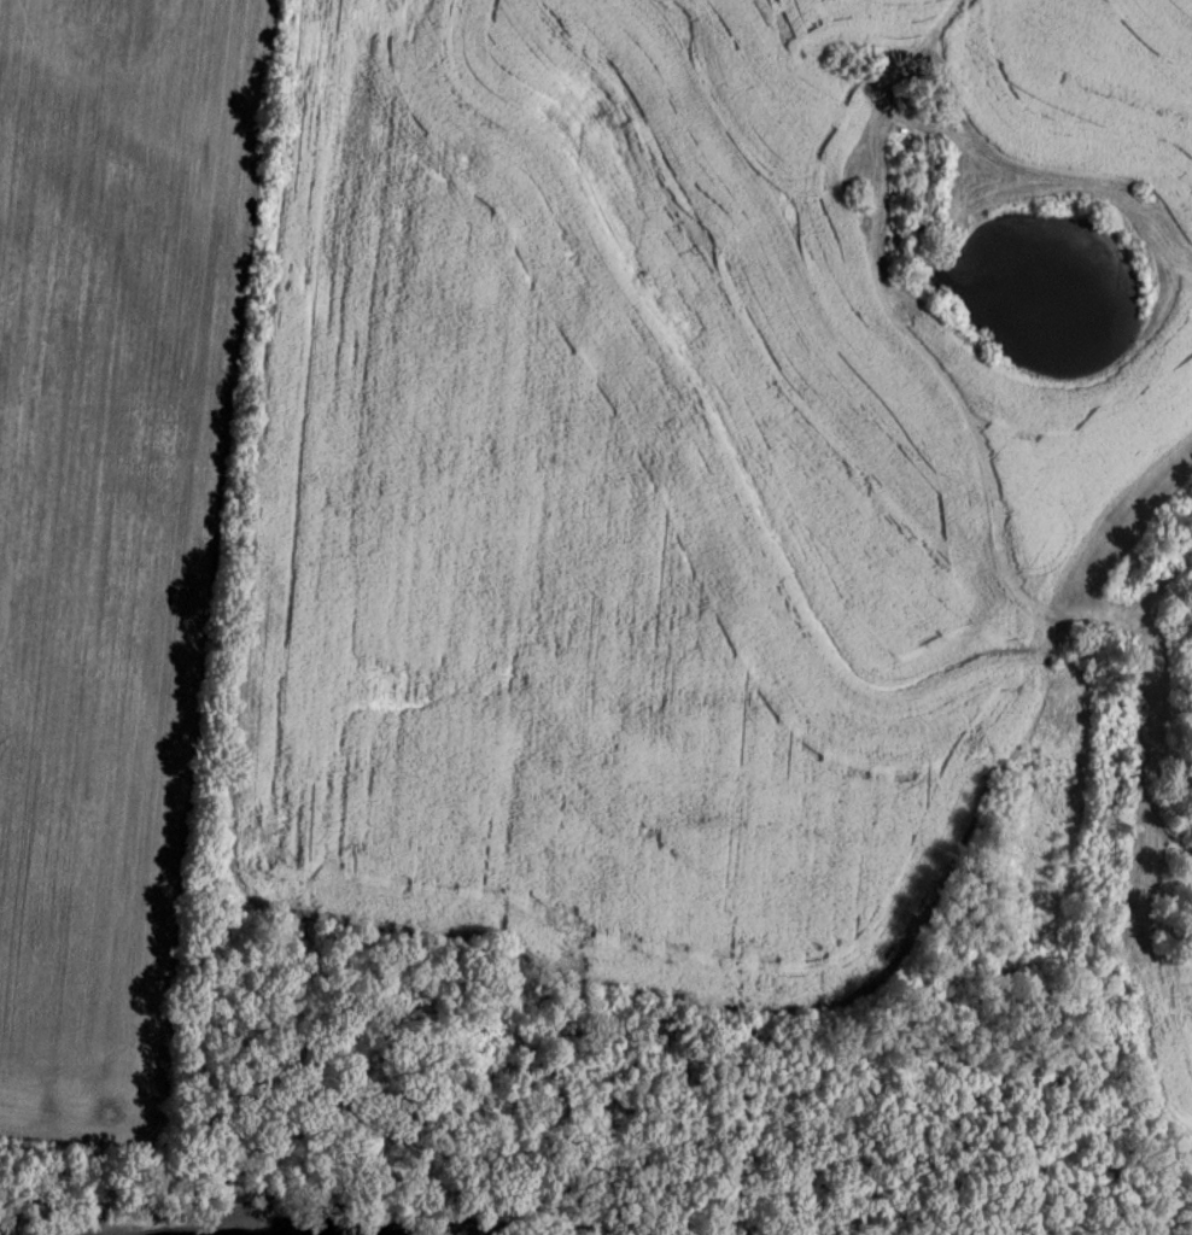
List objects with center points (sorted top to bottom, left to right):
road: (880, 107)
building: (928, 193)
road: (360, 535)

